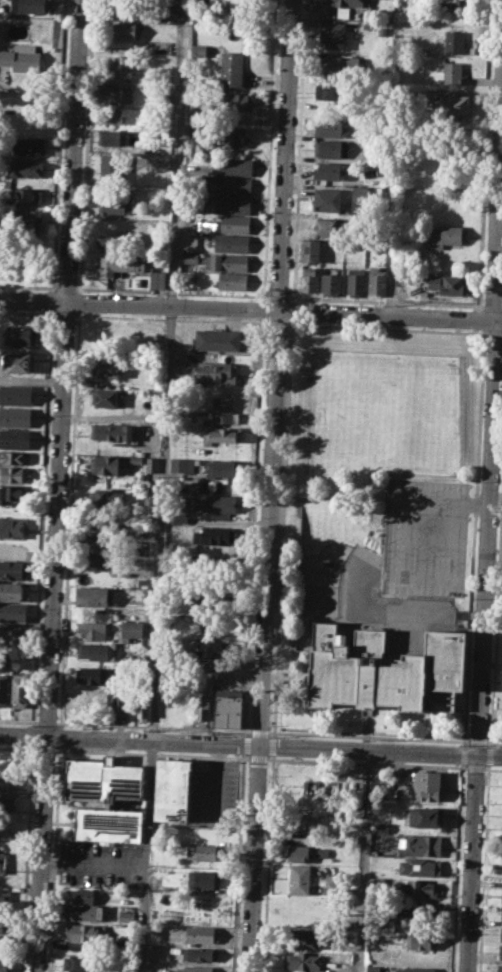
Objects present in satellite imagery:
building: (451, 3)
building: (30, 6)
building: (344, 6)
building: (129, 9)
building: (127, 30)
building: (383, 31)
building: (332, 34)
building: (454, 41)
building: (199, 48)
building: (21, 57)
building: (123, 65)
building: (343, 65)
building: (233, 69)
building: (452, 72)
building: (332, 92)
building: (116, 94)
building: (236, 101)
building: (452, 104)
building: (110, 115)
building: (331, 126)
building: (198, 129)
building: (228, 136)
building: (110, 138)
road: (60, 145)
building: (30, 146)
road: (86, 146)
building: (331, 148)
road: (269, 149)
road: (298, 150)
building: (233, 165)
building: (27, 167)
building: (111, 168)
building: (330, 170)
building: (230, 183)
building: (26, 195)
building: (328, 199)
building: (115, 204)
building: (235, 204)
road: (497, 213)
building: (24, 223)
building: (234, 223)
building: (328, 225)
building: (448, 236)
building: (111, 241)
building: (189, 241)
building: (233, 243)
building: (310, 248)
building: (190, 257)
building: (228, 262)
building: (121, 263)
building: (308, 278)
building: (158, 279)
building: (377, 280)
building: (235, 281)
building: (356, 281)
building: (331, 282)
building: (448, 283)
road: (28, 285)
road: (66, 287)
road: (172, 291)
road: (279, 296)
road: (53, 300)
road: (386, 300)
road: (79, 301)
road: (493, 305)
road: (250, 308)
road: (263, 308)
road: (291, 310)
road: (28, 311)
road: (64, 313)
road: (170, 317)
road: (276, 322)
road: (386, 328)
road: (494, 333)
building: (21, 334)
building: (218, 340)
building: (19, 362)
building: (105, 367)
building: (183, 371)
building: (217, 372)
building: (16, 394)
building: (105, 397)
building: (224, 412)
building: (15, 417)
building: (111, 431)
building: (222, 434)
building: (15, 439)
building: (14, 457)
building: (136, 459)
building: (106, 464)
building: (152, 464)
building: (182, 464)
building: (222, 468)
building: (15, 474)
road: (163, 485)
road: (57, 486)
road: (270, 486)
building: (13, 492)
building: (108, 496)
building: (150, 497)
building: (178, 502)
building: (219, 505)
road: (43, 517)
building: (179, 517)
road: (69, 518)
road: (253, 526)
building: (13, 527)
building: (101, 528)
road: (281, 528)
building: (214, 535)
road: (487, 536)
parking lot: (425, 537)
building: (100, 544)
building: (190, 547)
road: (397, 557)
building: (102, 562)
building: (13, 569)
building: (143, 584)
building: (12, 591)
building: (92, 596)
building: (209, 605)
building: (14, 612)
building: (207, 627)
building: (93, 629)
building: (131, 630)
building: (14, 637)
building: (205, 648)
building: (96, 650)
building: (386, 670)
building: (90, 675)
building: (4, 689)
building: (20, 690)
building: (77, 704)
building: (120, 706)
building: (183, 707)
building: (142, 709)
building: (203, 709)
building: (228, 709)
road: (18, 720)
road: (46, 721)
road: (152, 726)
road: (259, 731)
road: (33, 734)
road: (59, 736)
road: (369, 736)
road: (478, 741)
road: (494, 742)
road: (243, 744)
road: (250, 744)
road: (272, 745)
road: (216, 781)
building: (7, 784)
building: (428, 785)
building: (173, 790)
parking lot: (214, 792)
building: (324, 793)
building: (106, 797)
building: (6, 804)
building: (425, 816)
building: (306, 819)
building: (382, 827)
building: (6, 828)
building: (419, 845)
building: (204, 852)
building: (300, 852)
road: (27, 858)
road: (53, 858)
road: (363, 860)
building: (3, 862)
road: (237, 862)
parking lot: (100, 863)
road: (267, 863)
road: (471, 863)
road: (92, 864)
building: (419, 866)
building: (299, 877)
building: (204, 878)
building: (377, 882)
building: (417, 887)
building: (83, 895)
building: (501, 896)
building: (5, 899)
building: (423, 909)
building: (84, 912)
building: (501, 917)
building: (4, 924)
building: (85, 933)
building: (501, 933)
building: (202, 934)
building: (304, 937)
building: (423, 940)
building: (4, 942)
building: (500, 952)
building: (200, 953)
building: (303, 960)
building: (81, 962)
building: (3, 964)
building: (501, 967)
building: (197, 968)
building: (373, 968)
building: (413, 969)

